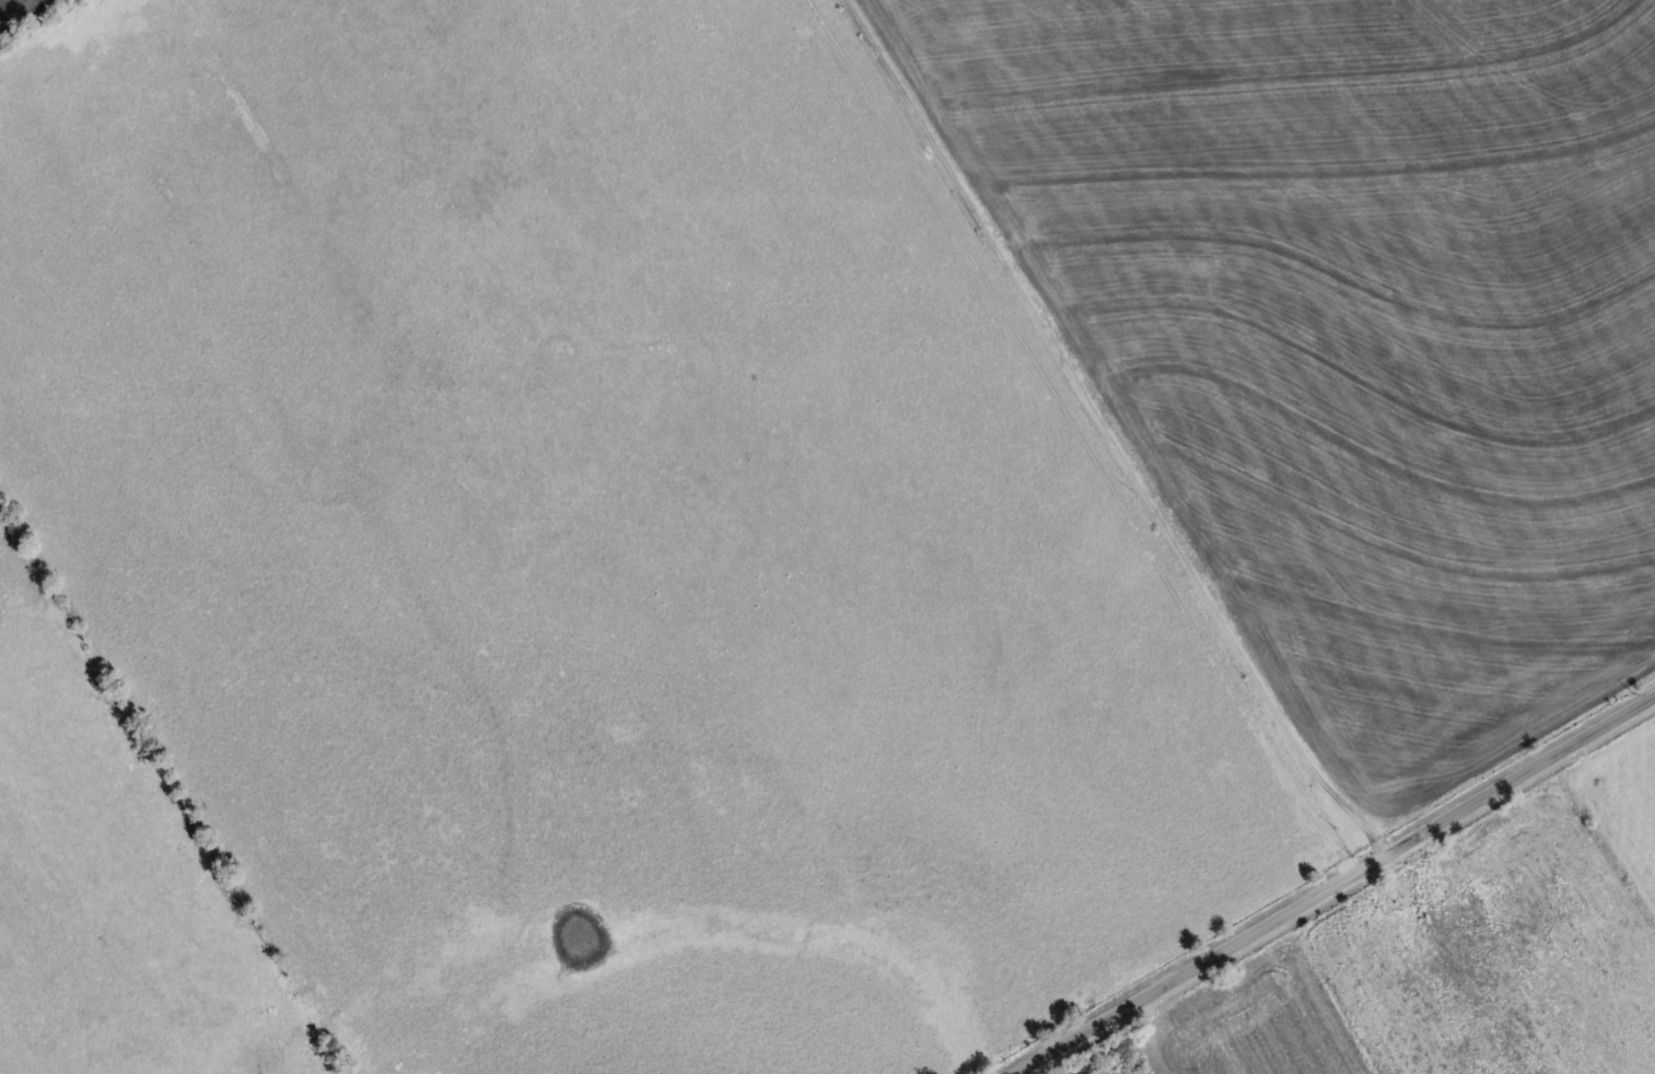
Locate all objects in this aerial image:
road: (1310, 873)

